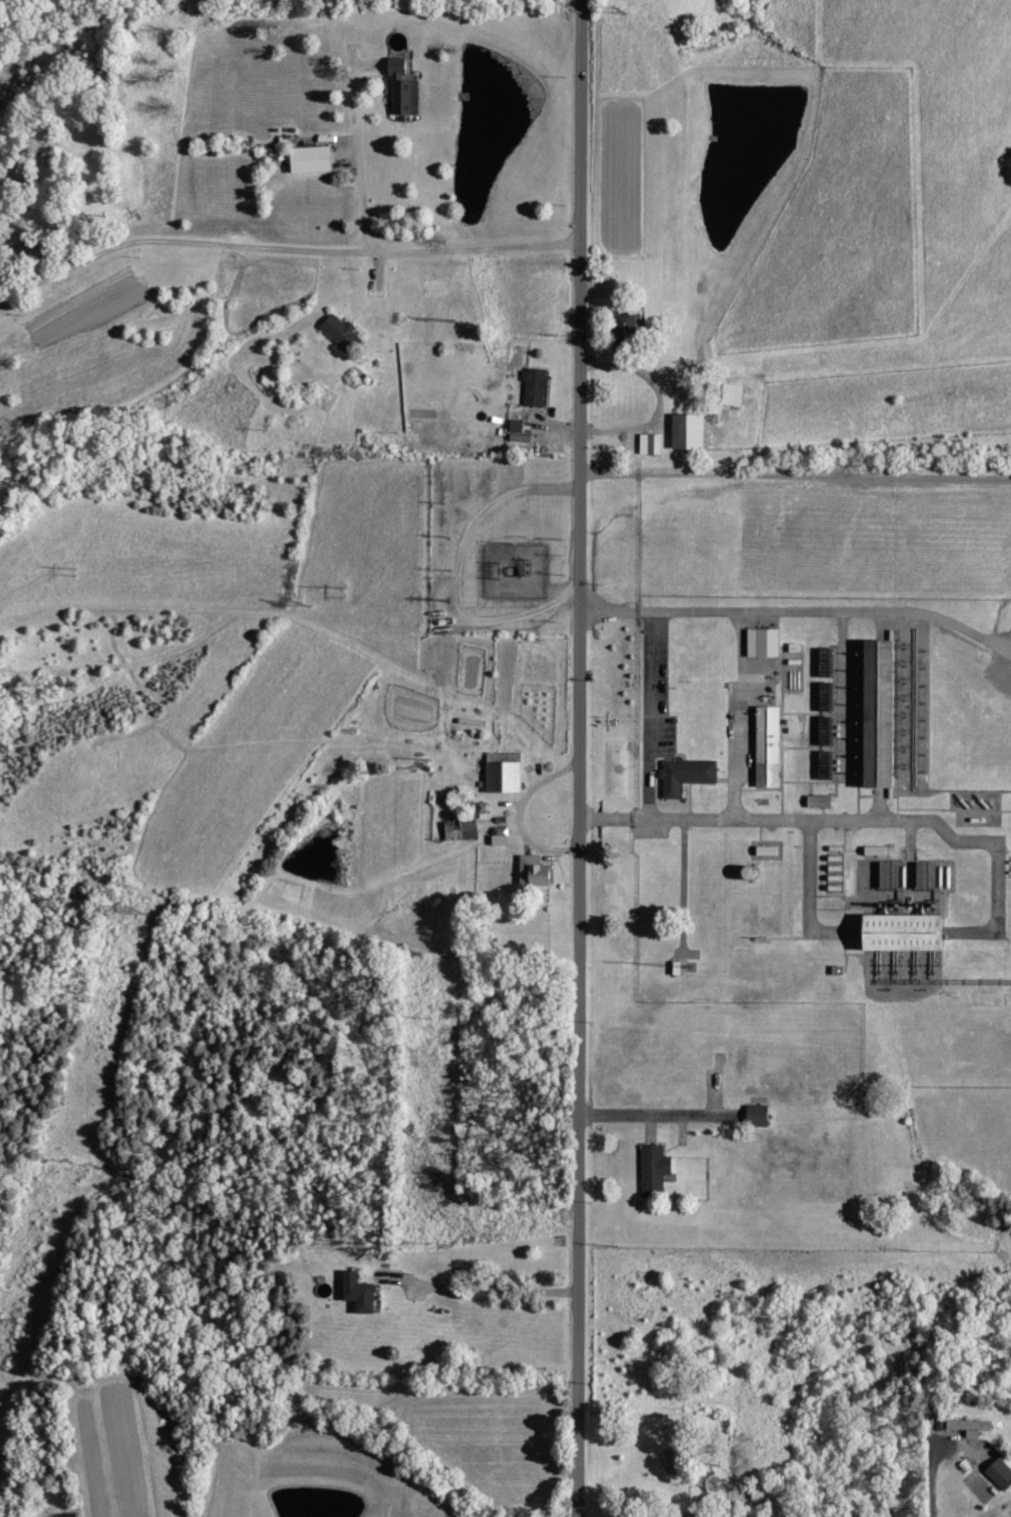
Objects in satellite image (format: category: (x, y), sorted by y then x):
building: (406, 89)
road: (358, 149)
building: (315, 159)
road: (181, 242)
road: (477, 249)
building: (629, 327)
building: (343, 331)
building: (537, 386)
building: (735, 394)
building: (518, 425)
building: (692, 431)
building: (657, 443)
power substation: (514, 570)
power substation: (514, 570)
road: (790, 614)
road: (1002, 648)
building: (763, 658)
building: (829, 662)
road: (649, 716)
flagpole: (610, 717)
road: (741, 717)
building: (879, 718)
flagpole: (617, 721)
flagpole: (610, 726)
building: (768, 748)
road: (580, 758)
building: (506, 773)
building: (686, 777)
building: (823, 801)
road: (793, 820)
building: (465, 826)
building: (502, 836)
building: (769, 851)
building: (878, 851)
building: (537, 871)
building: (757, 873)
building: (892, 875)
road: (685, 888)
road: (806, 898)
building: (903, 932)
road: (661, 1114)
building: (760, 1116)
building: (657, 1170)
road: (478, 1290)
building: (362, 1291)
building: (973, 1426)
building: (678, 1460)
building: (1001, 1474)
building: (768, 1490)
road: (989, 1512)

